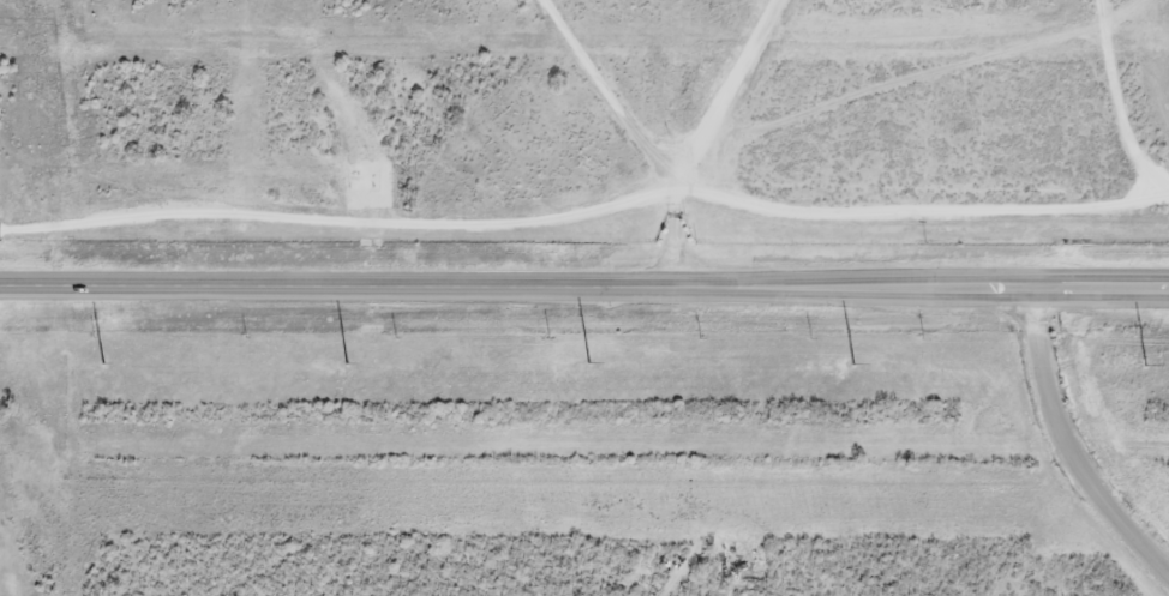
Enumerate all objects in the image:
road: (697, 134)
road: (584, 285)
power tower: (103, 362)
power tower: (348, 362)
power tower: (589, 362)
power tower: (856, 363)
power tower: (1145, 365)
road: (1066, 446)

